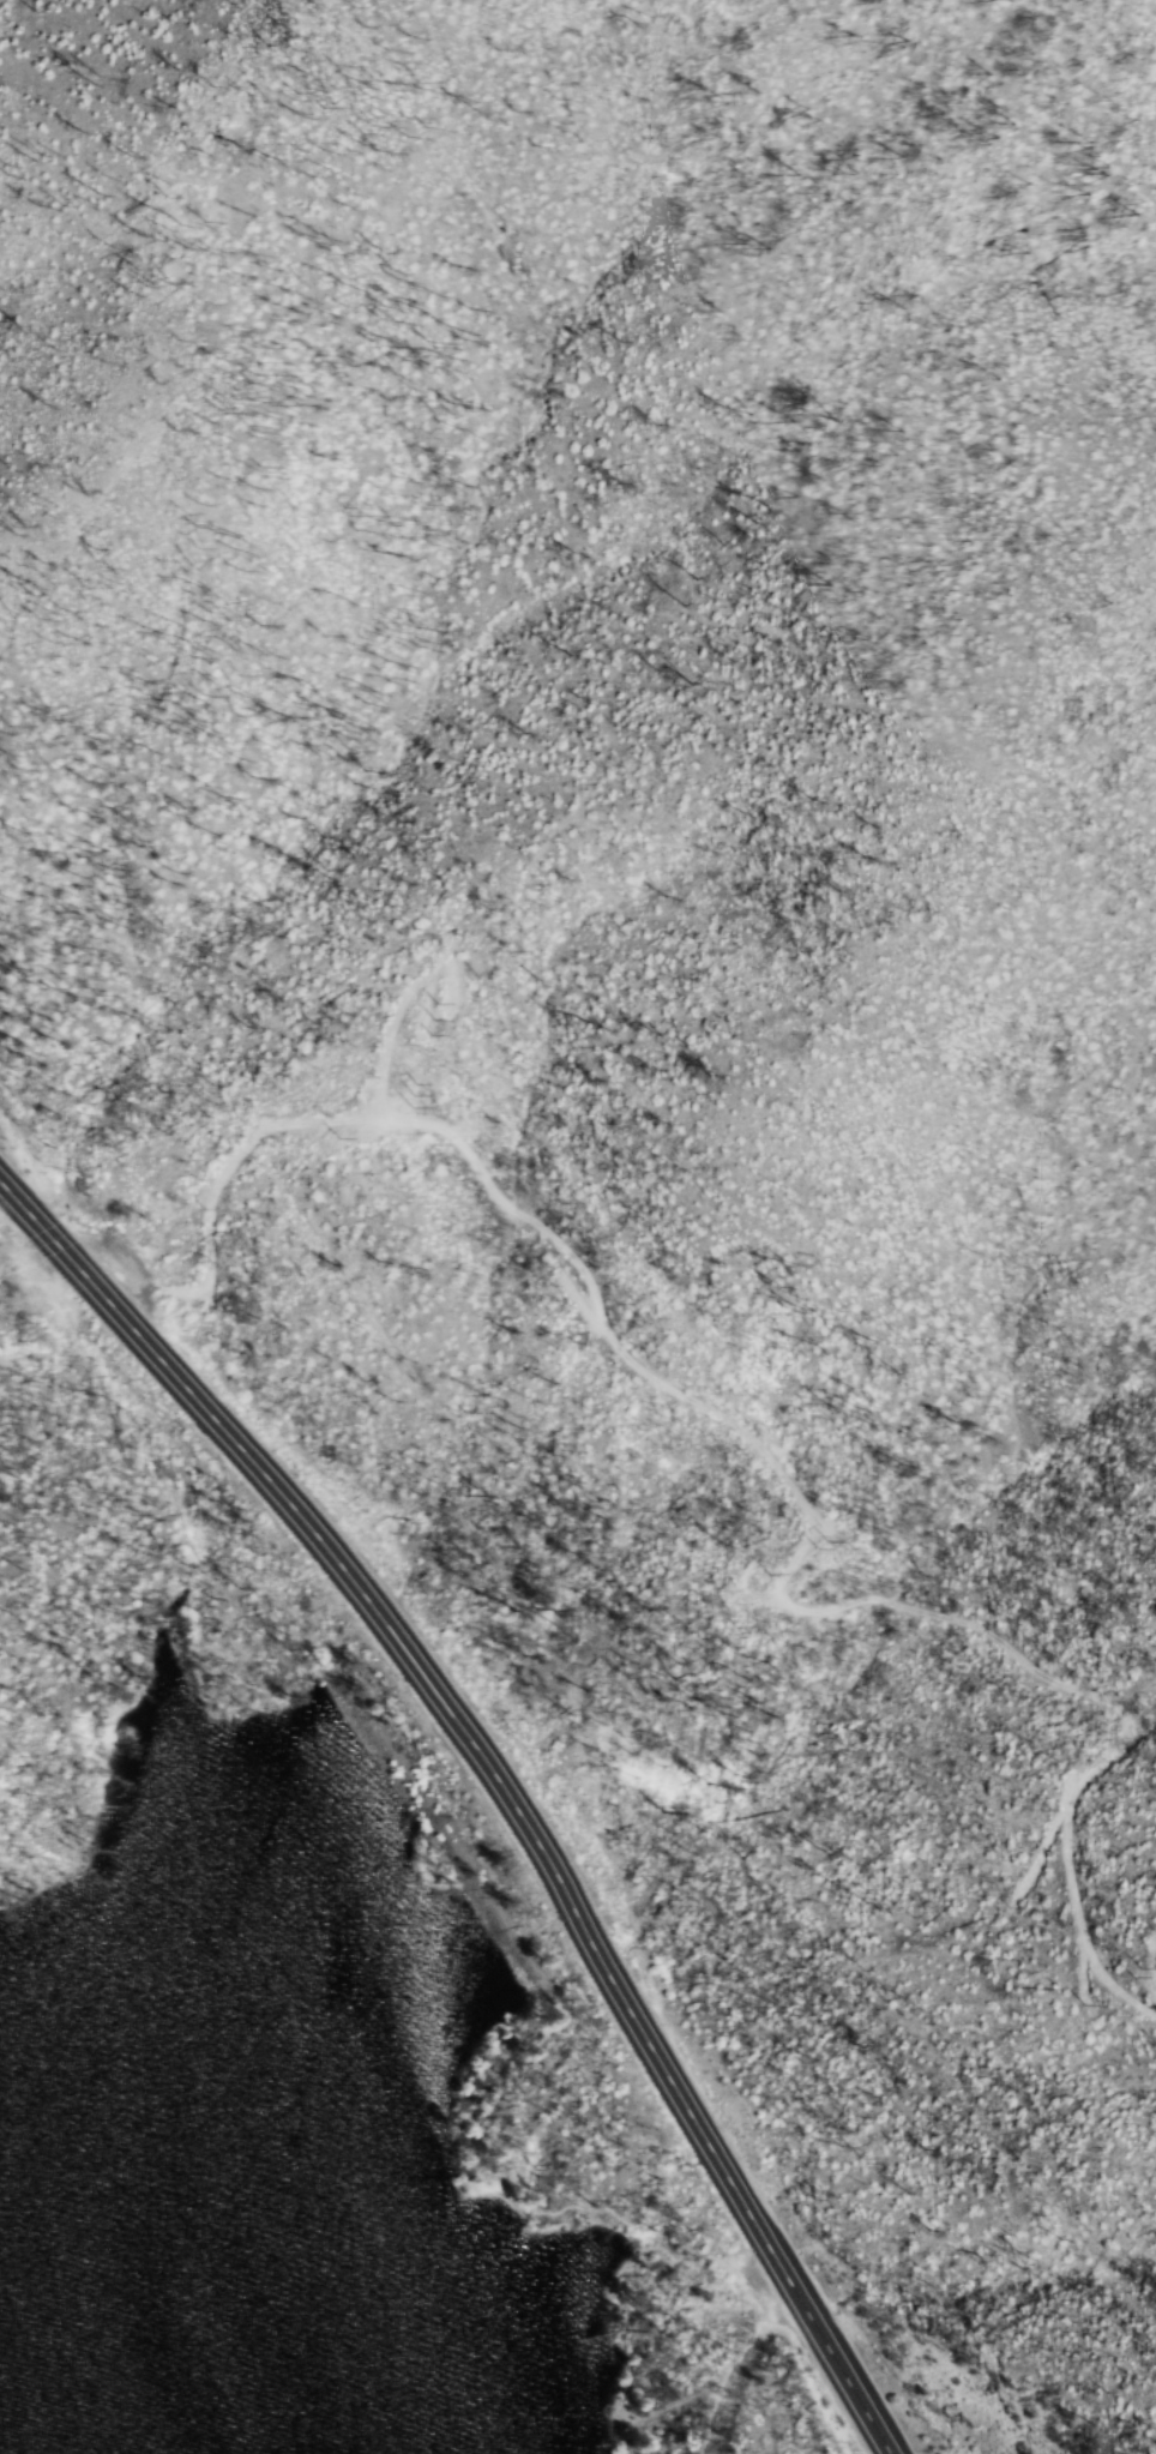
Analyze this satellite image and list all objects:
power tower: (436, 1017)
power tower: (415, 1095)
power tower: (819, 1545)
road: (499, 1778)
power tower: (1143, 1972)

